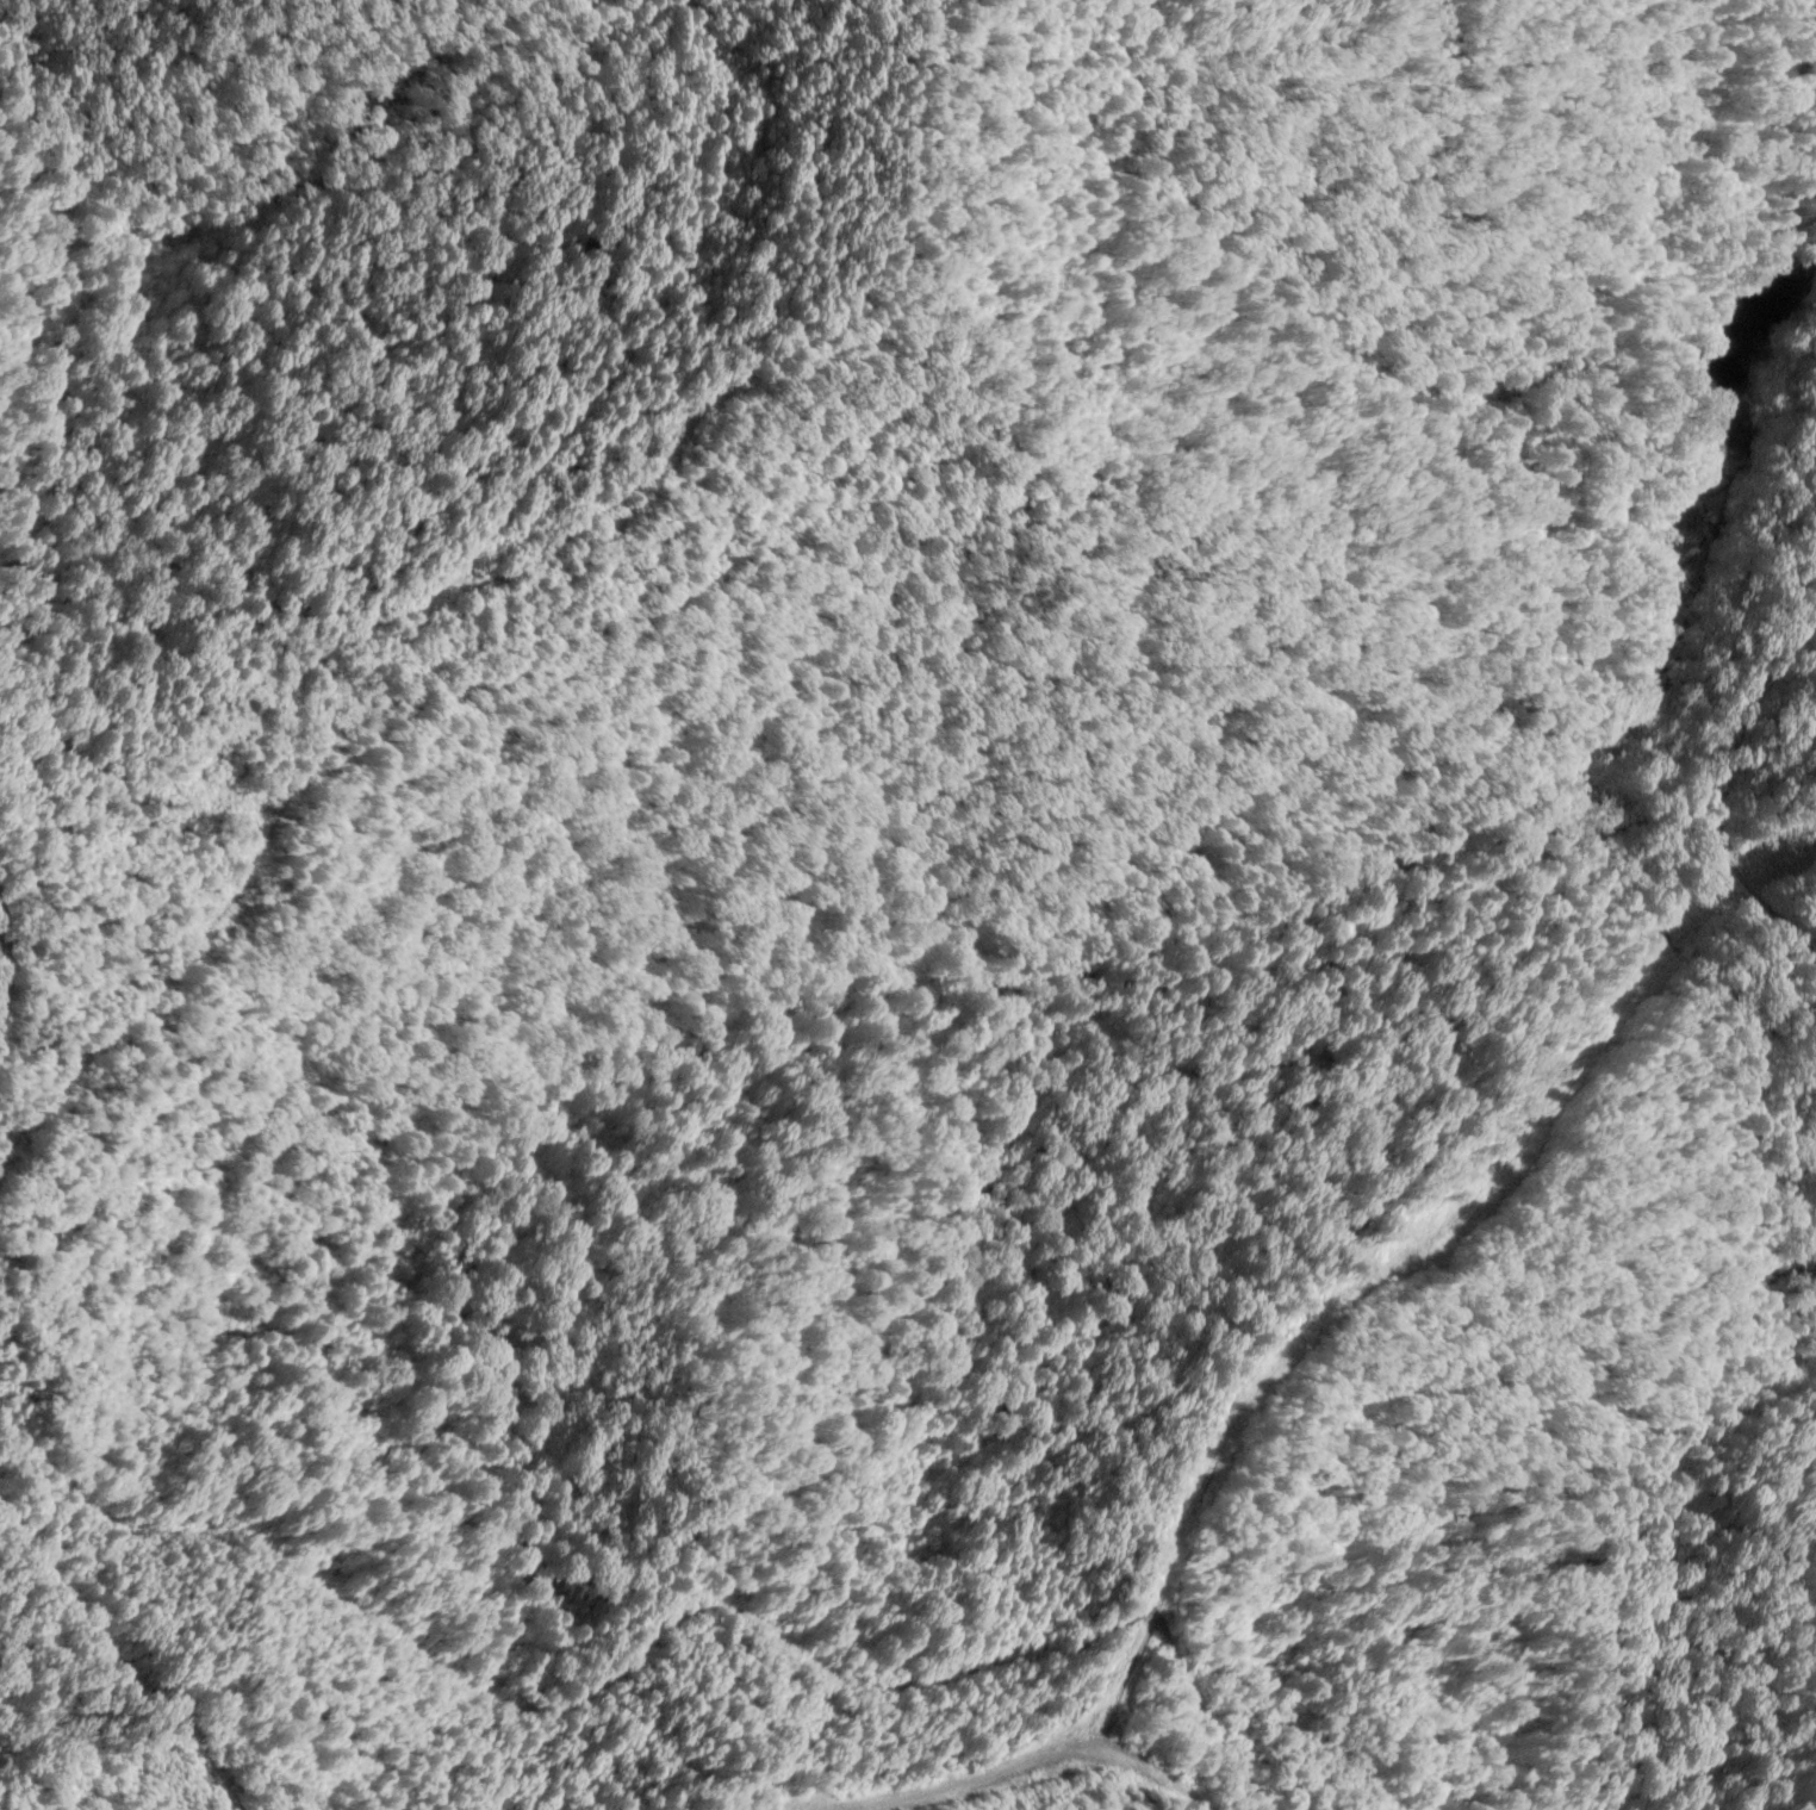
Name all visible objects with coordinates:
road: (1200, 1487)
road: (1036, 1761)

